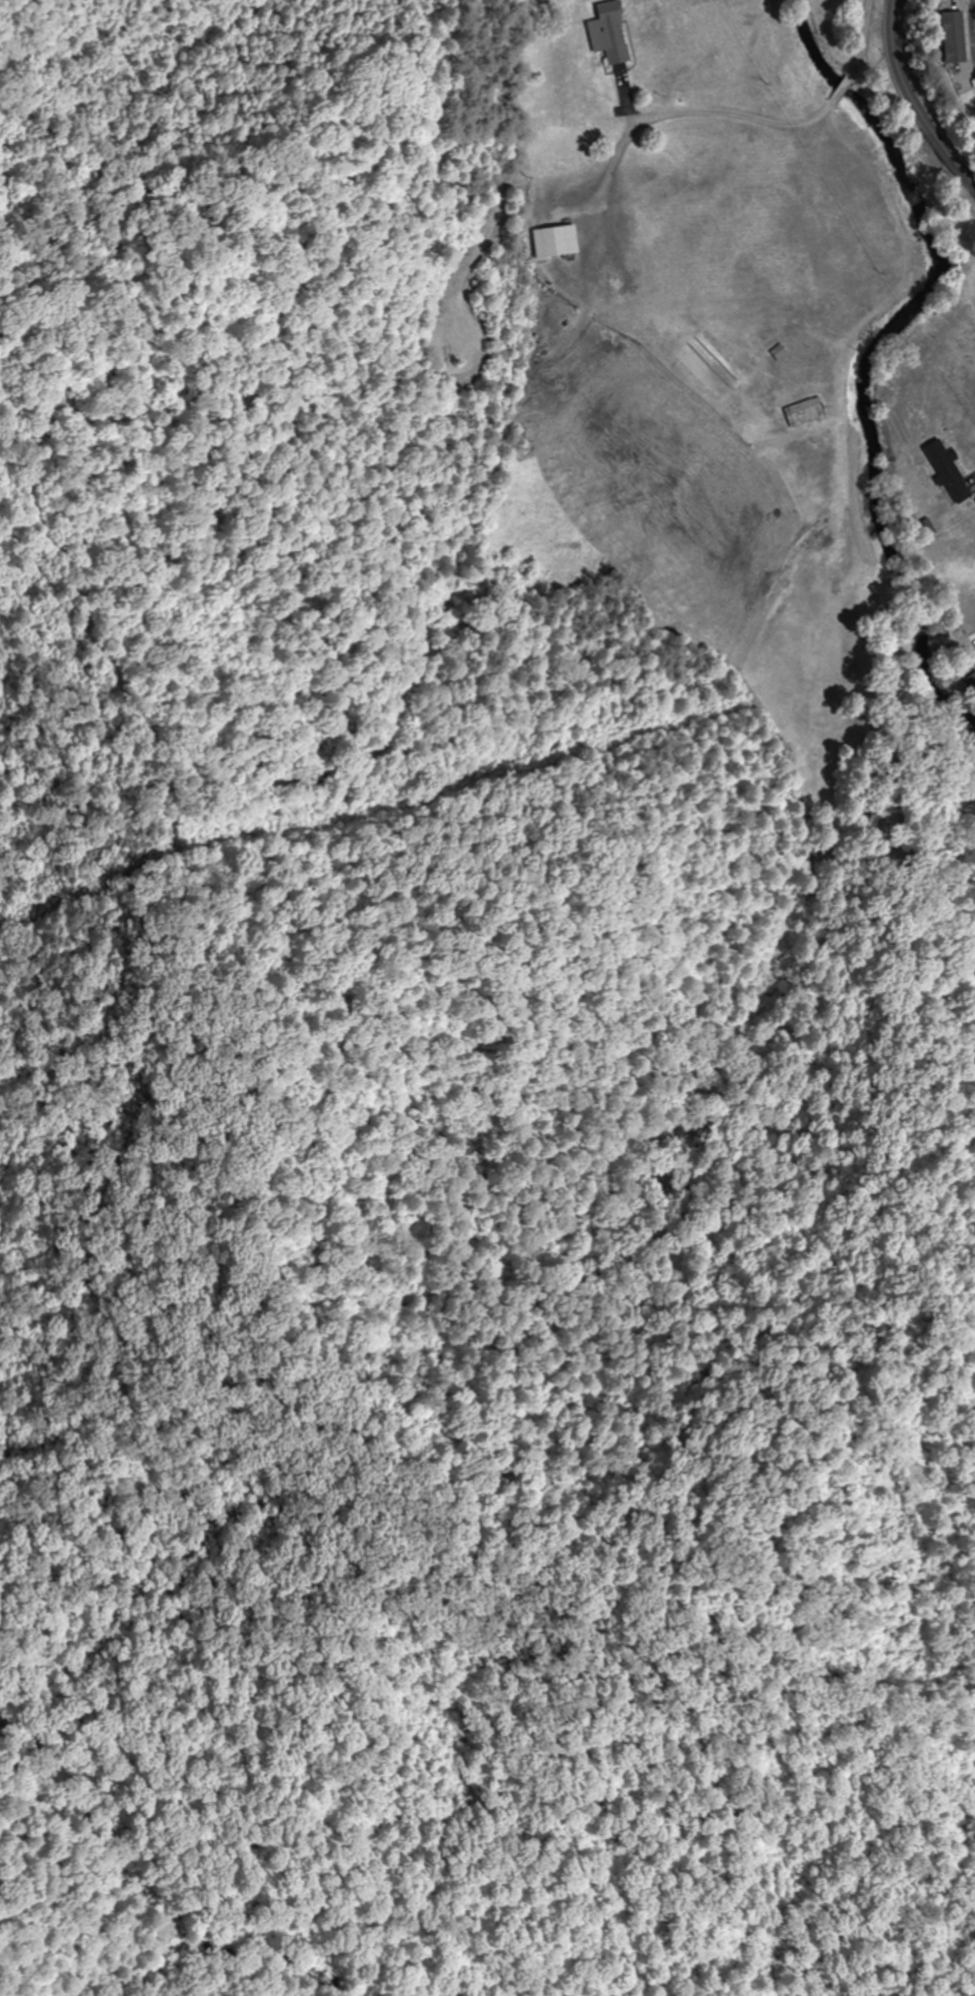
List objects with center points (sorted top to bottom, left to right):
building: (606, 33)
building: (947, 37)
road: (913, 102)
building: (552, 241)
building: (803, 413)
building: (945, 471)
building: (970, 687)

